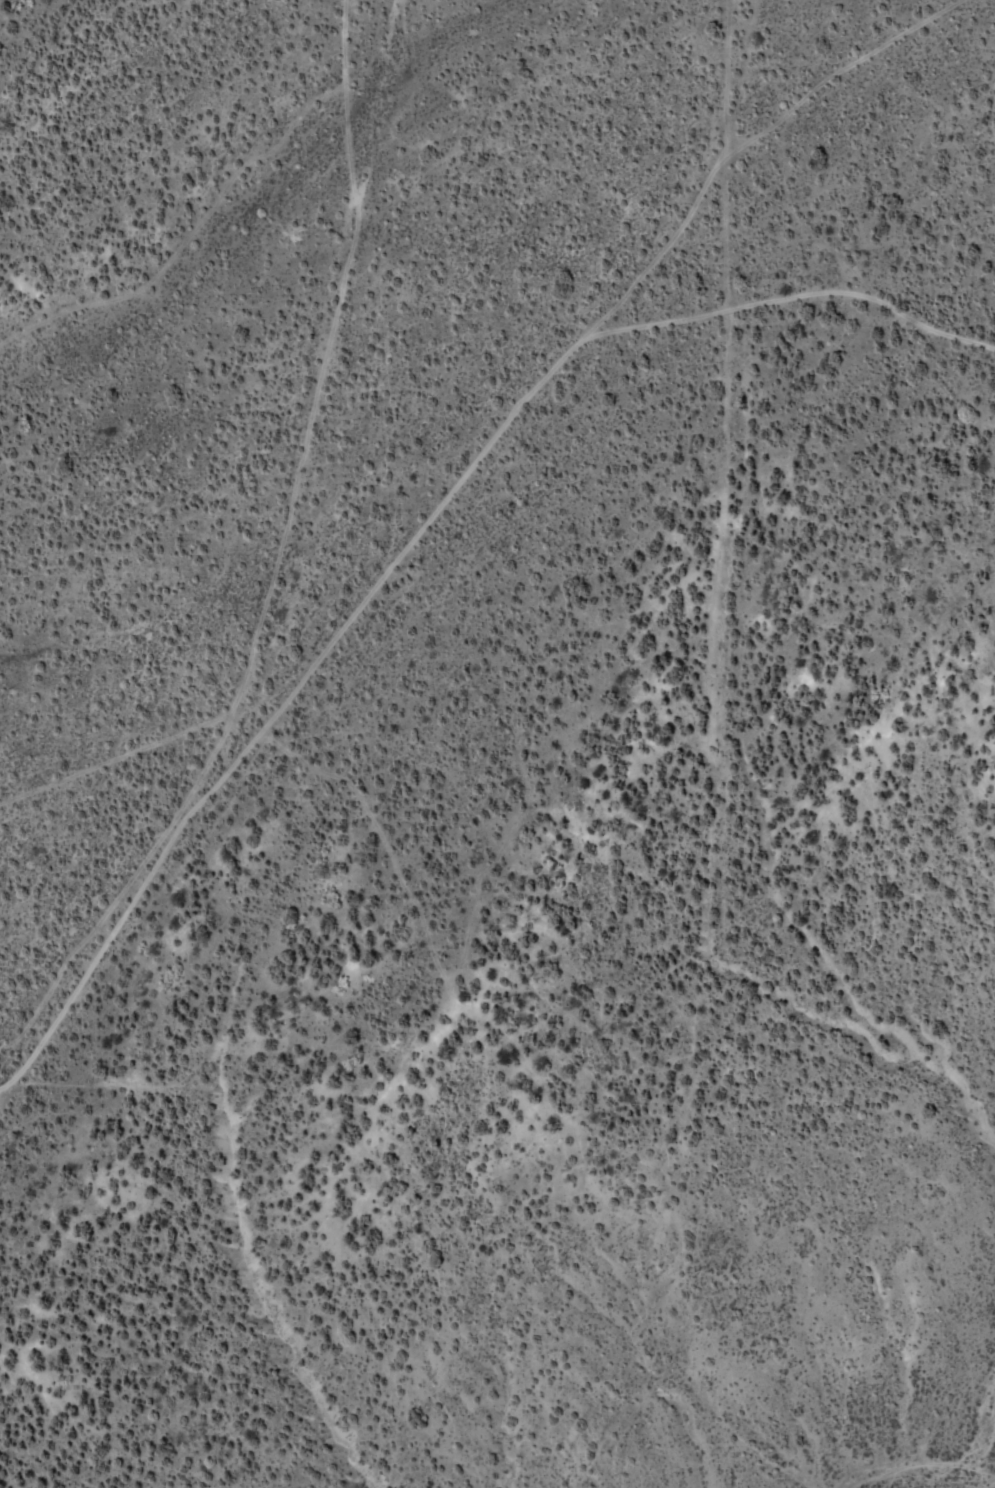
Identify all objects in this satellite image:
road: (739, 77)
road: (796, 226)
road: (792, 295)
road: (539, 376)
road: (269, 580)
road: (4, 1089)

